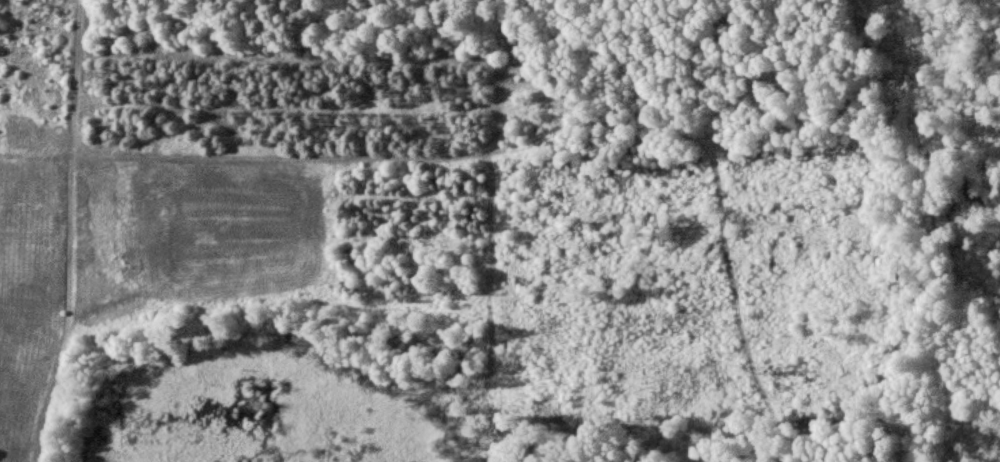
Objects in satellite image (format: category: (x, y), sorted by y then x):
road: (71, 231)

